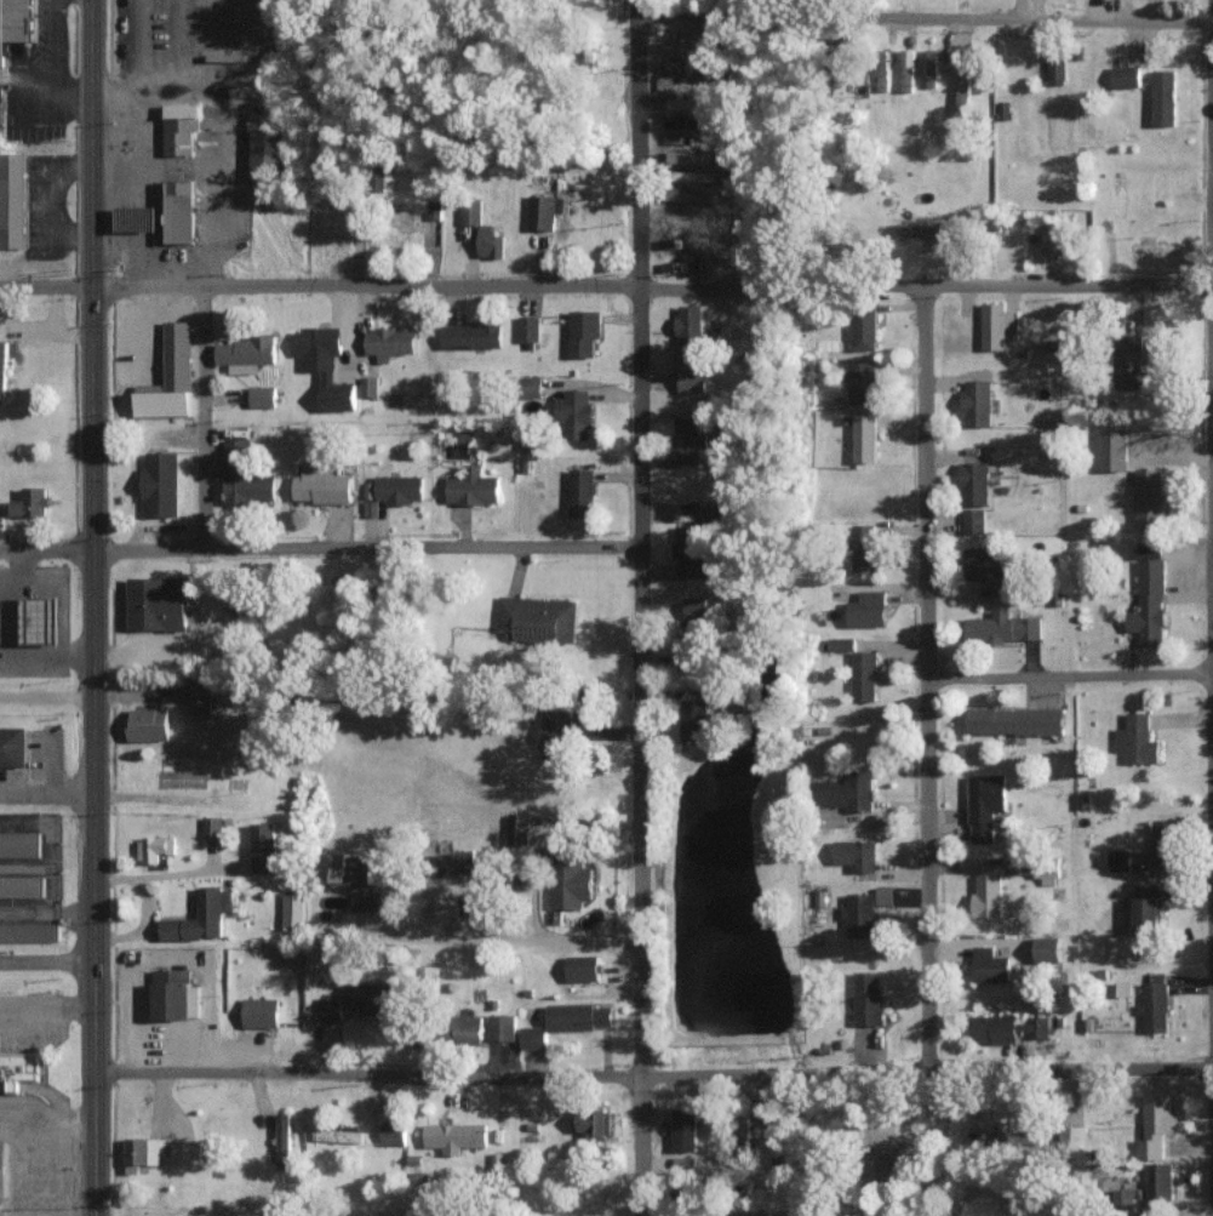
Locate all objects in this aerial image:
road: (931, 24)
building: (16, 25)
building: (675, 45)
building: (931, 67)
building: (1057, 68)
building: (908, 69)
building: (1126, 76)
building: (882, 78)
building: (665, 82)
building: (963, 89)
building: (1163, 97)
building: (685, 103)
building: (685, 121)
building: (179, 126)
building: (267, 153)
building: (703, 176)
building: (379, 178)
building: (12, 201)
parking lot: (36, 201)
building: (435, 209)
building: (178, 210)
building: (540, 211)
building: (470, 212)
building: (137, 219)
gas station: (137, 219)
building: (926, 228)
road: (102, 235)
building: (1053, 240)
building: (692, 241)
building: (490, 242)
building: (1154, 246)
road: (606, 285)
building: (995, 324)
building: (528, 327)
building: (864, 329)
building: (583, 331)
building: (688, 333)
building: (470, 335)
building: (389, 342)
building: (245, 354)
building: (1128, 361)
building: (325, 365)
building: (2, 369)
building: (691, 379)
building: (862, 382)
building: (368, 386)
building: (531, 387)
building: (262, 395)
building: (165, 398)
building: (977, 401)
building: (574, 413)
road: (204, 416)
building: (864, 438)
building: (687, 439)
building: (1114, 450)
building: (244, 475)
building: (321, 484)
building: (974, 484)
building: (162, 485)
building: (473, 486)
building: (399, 487)
building: (580, 491)
building: (1149, 498)
building: (30, 502)
building: (710, 509)
building: (973, 520)
road: (325, 548)
building: (864, 548)
building: (688, 553)
building: (986, 567)
building: (1149, 596)
building: (158, 604)
building: (694, 606)
road: (648, 607)
building: (868, 610)
building: (537, 620)
building: (41, 621)
gas station: (41, 621)
parking lot: (1, 626)
building: (1002, 627)
building: (841, 644)
building: (864, 675)
road: (940, 686)
road: (1076, 687)
building: (199, 697)
building: (693, 719)
building: (1015, 720)
building: (148, 724)
building: (554, 736)
building: (1137, 738)
building: (13, 747)
parking lot: (36, 771)
building: (845, 789)
building: (985, 804)
building: (212, 827)
building: (517, 829)
building: (1163, 841)
road: (98, 843)
building: (19, 844)
building: (263, 846)
building: (153, 847)
building: (856, 855)
building: (1120, 860)
building: (454, 862)
building: (351, 869)
building: (1043, 873)
building: (570, 883)
building: (22, 886)
building: (988, 890)
building: (885, 896)
building: (362, 901)
building: (446, 907)
building: (293, 909)
building: (1146, 909)
building: (859, 914)
building: (200, 917)
building: (29, 932)
road: (500, 943)
building: (1047, 948)
road: (48, 960)
building: (990, 965)
building: (583, 967)
building: (1123, 988)
building: (173, 995)
building: (366, 998)
building: (868, 998)
building: (1154, 1004)
building: (328, 1007)
building: (261, 1011)
building: (579, 1016)
parking lot: (30, 1023)
building: (502, 1027)
building: (467, 1028)
building: (1006, 1028)
building: (533, 1037)
building: (19, 1069)
road: (653, 1074)
building: (593, 1121)
building: (973, 1121)
building: (1156, 1126)
building: (683, 1129)
building: (393, 1132)
building: (337, 1135)
building: (454, 1136)
building: (1030, 1137)
building: (1080, 1138)
building: (284, 1140)
building: (142, 1152)
building: (187, 1152)
building: (683, 1161)
building: (4, 1170)
building: (1158, 1180)
building: (1122, 1198)

